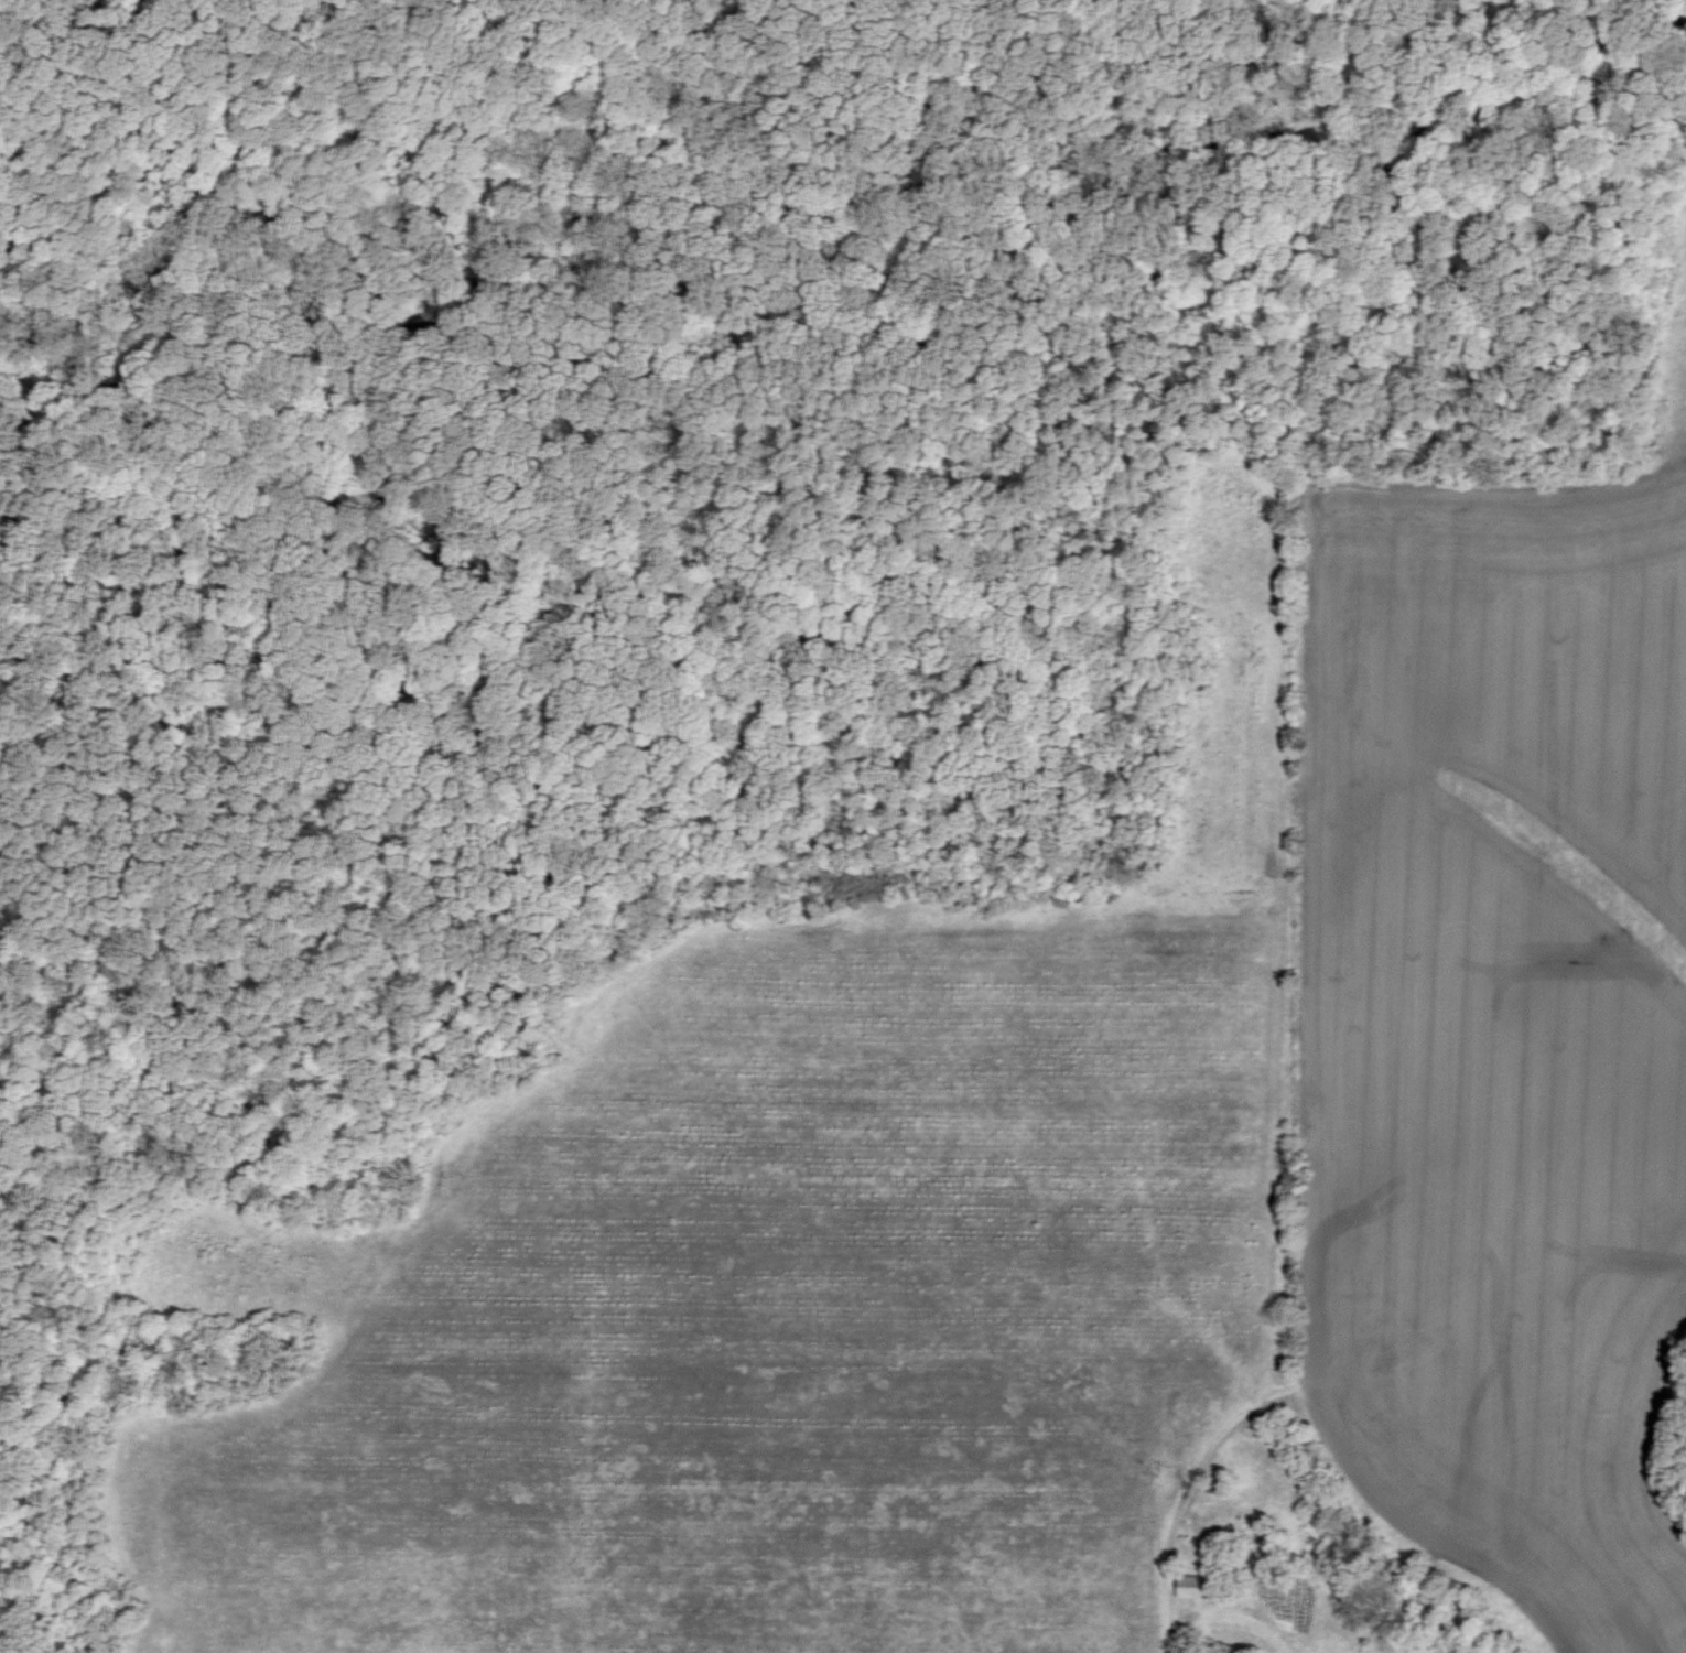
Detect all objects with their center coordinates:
building: (1198, 1587)
road: (1168, 1643)

